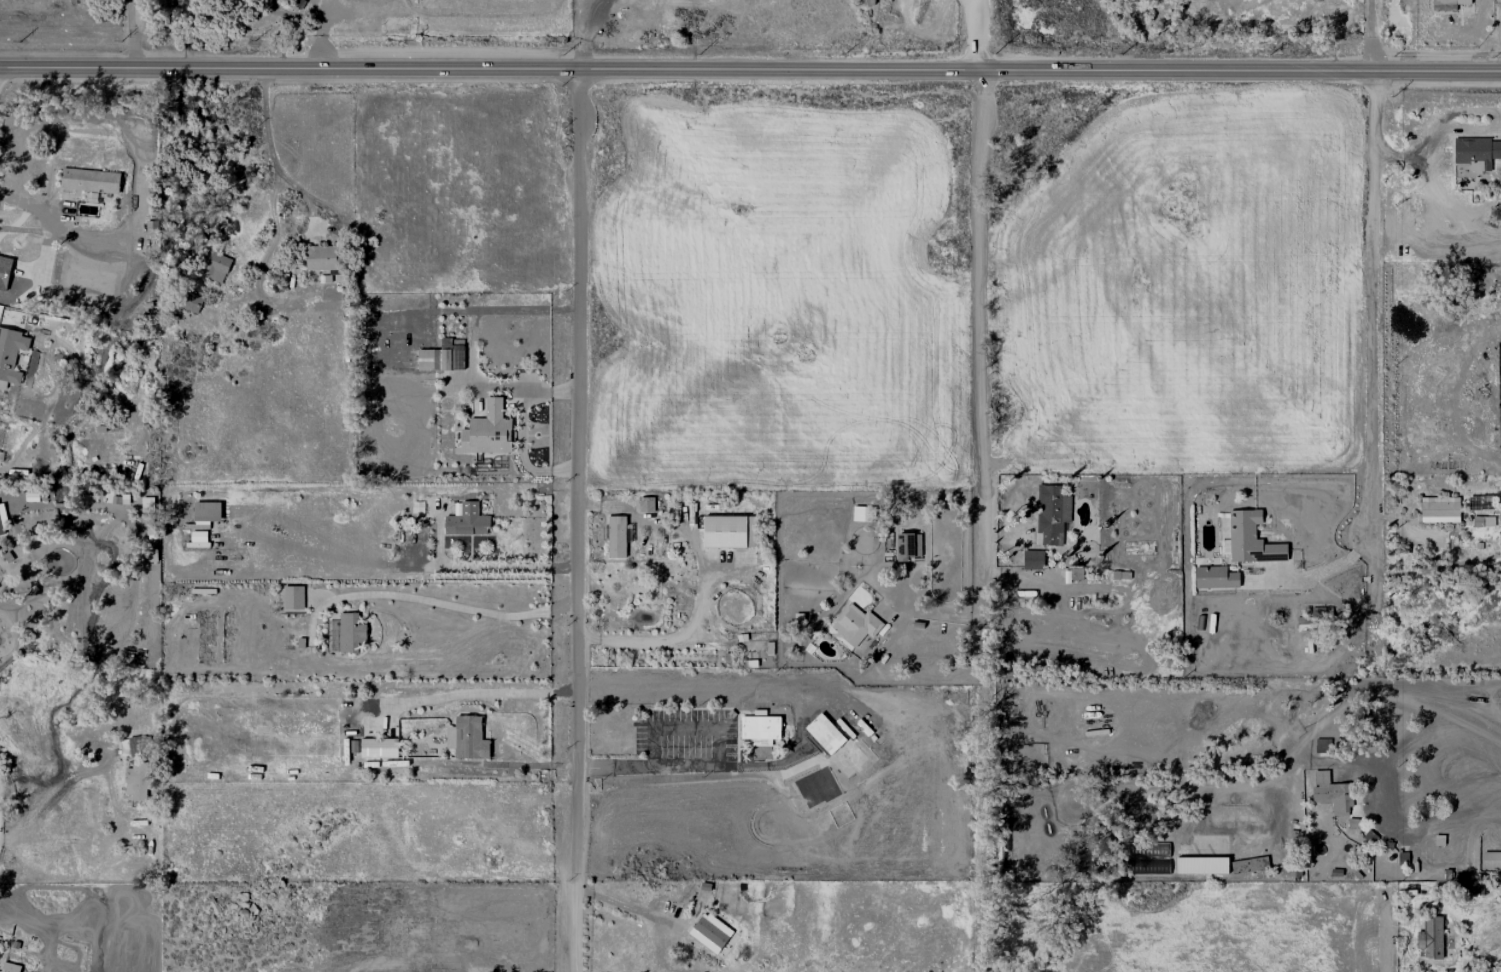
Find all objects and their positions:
building: (1447, 4)
road: (130, 32)
road: (1373, 33)
road: (978, 34)
road: (750, 67)
building: (1477, 153)
building: (90, 180)
road: (289, 181)
road: (51, 218)
building: (323, 258)
building: (217, 267)
building: (93, 286)
building: (192, 302)
road: (1371, 303)
road: (978, 339)
building: (11, 355)
building: (438, 359)
building: (488, 431)
building: (147, 504)
building: (1440, 509)
building: (207, 512)
building: (1053, 514)
road: (578, 519)
building: (467, 520)
building: (1483, 521)
building: (2, 522)
building: (730, 531)
building: (616, 536)
building: (1252, 539)
building: (911, 545)
building: (1033, 559)
road: (478, 567)
road: (1314, 573)
building: (1216, 577)
road: (700, 581)
road: (453, 605)
building: (857, 624)
road: (1371, 624)
road: (470, 690)
building: (761, 729)
building: (827, 733)
road: (1405, 744)
building: (1323, 745)
building: (379, 747)
road: (691, 765)
building: (139, 781)
building: (1332, 793)
road: (47, 800)
building: (1491, 860)
building: (1202, 864)
road: (627, 907)
building: (711, 932)
building: (1431, 938)
road: (1384, 947)
building: (11, 967)

